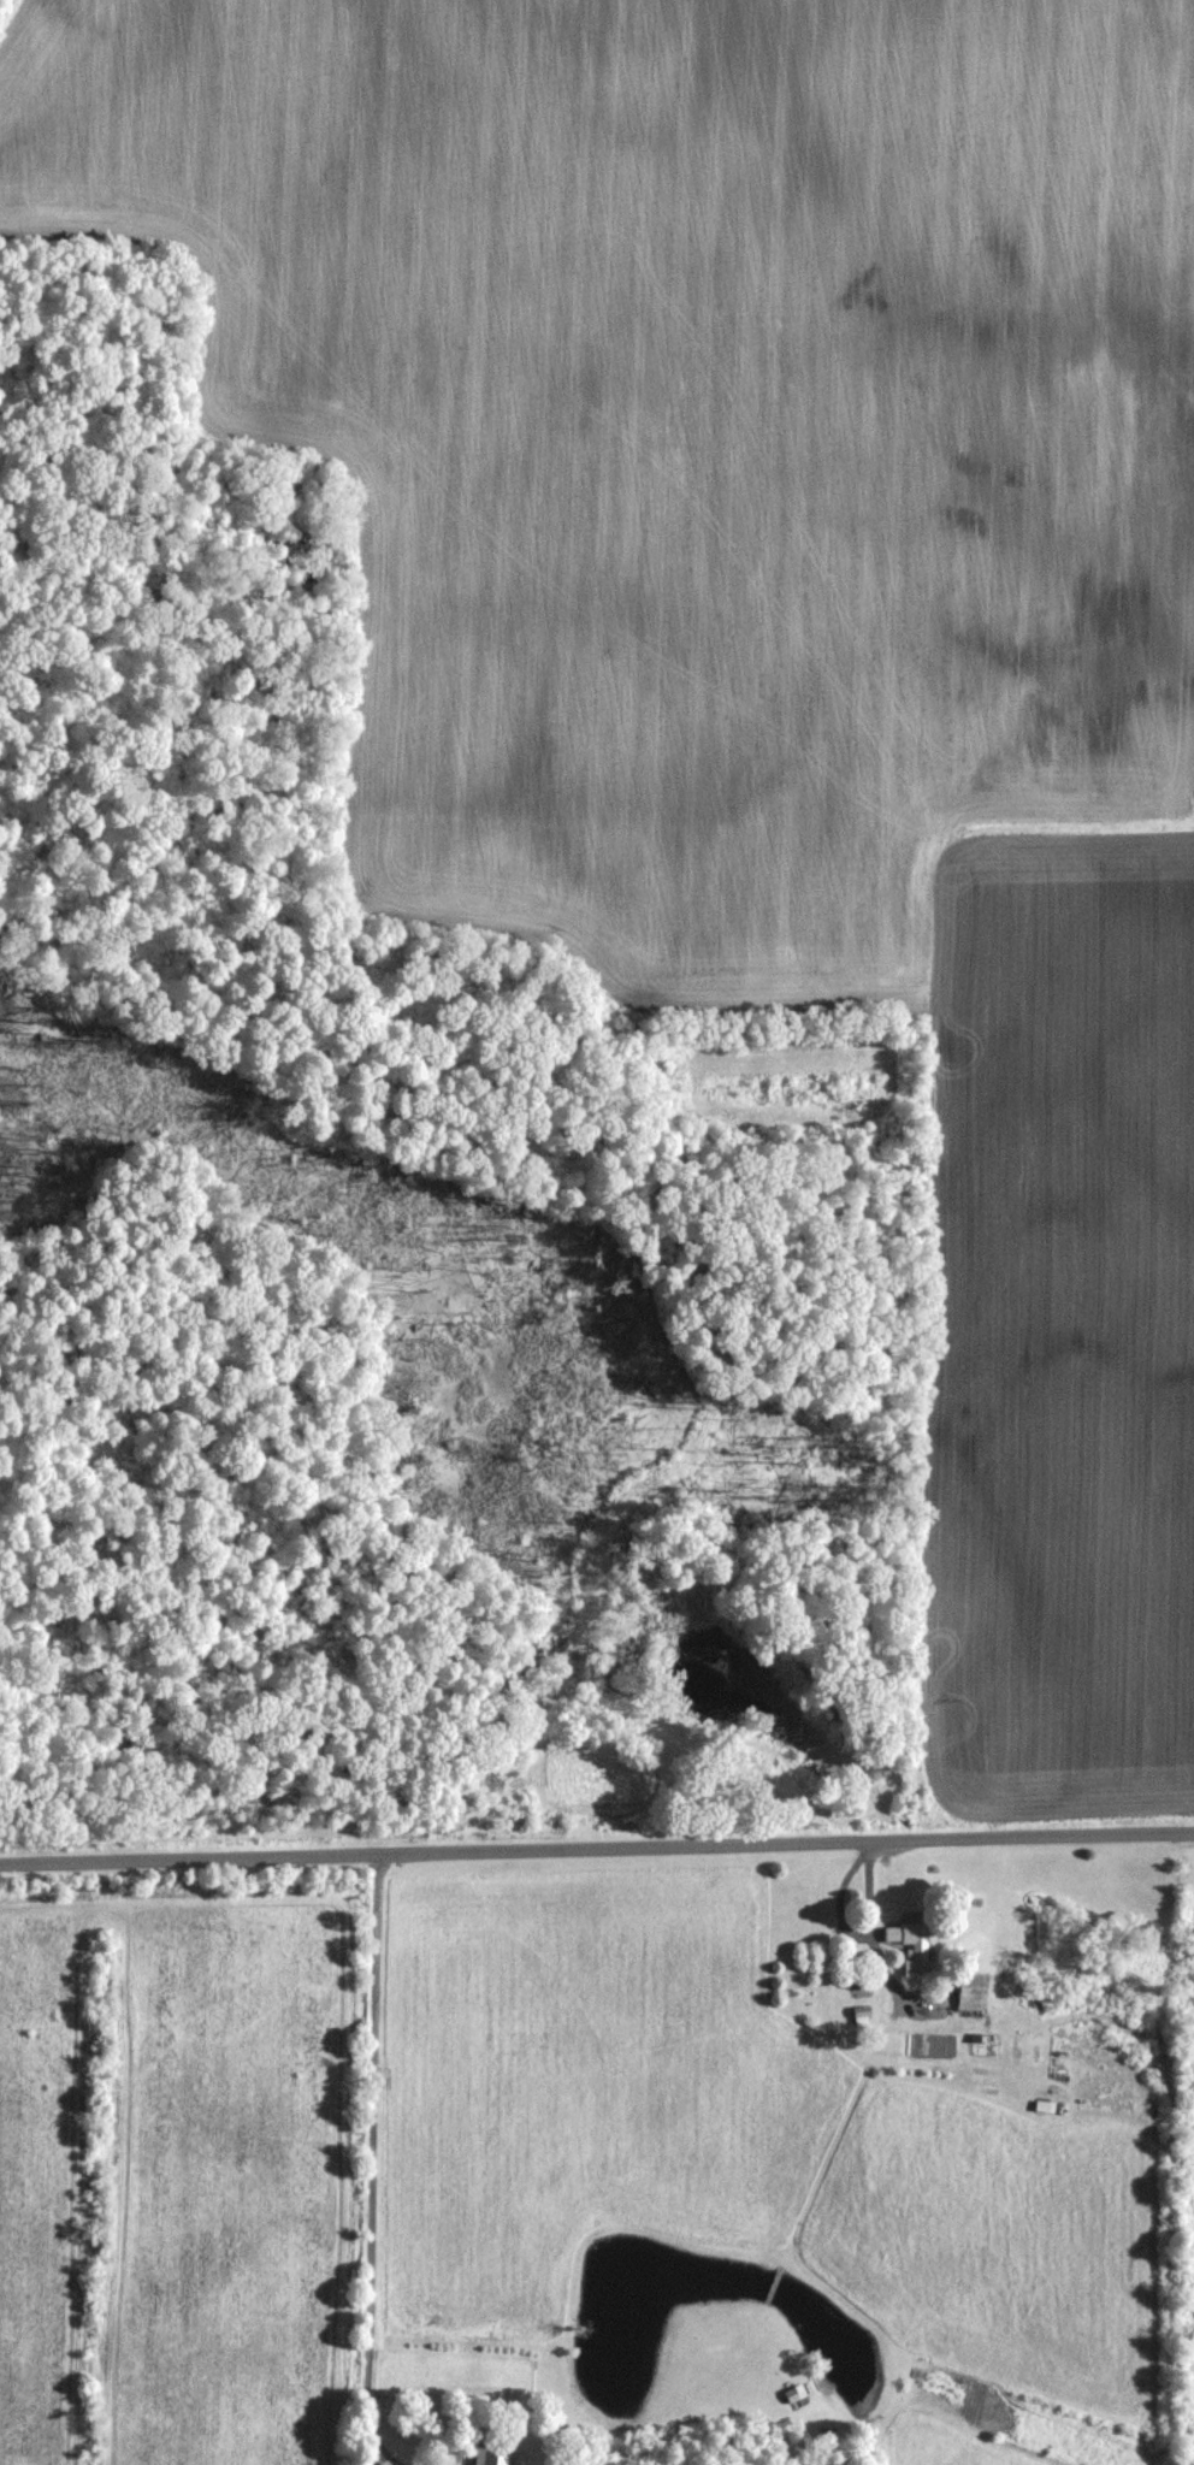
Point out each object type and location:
road: (597, 1846)
building: (903, 1944)
building: (963, 1991)
road: (372, 2165)
building: (485, 2454)

